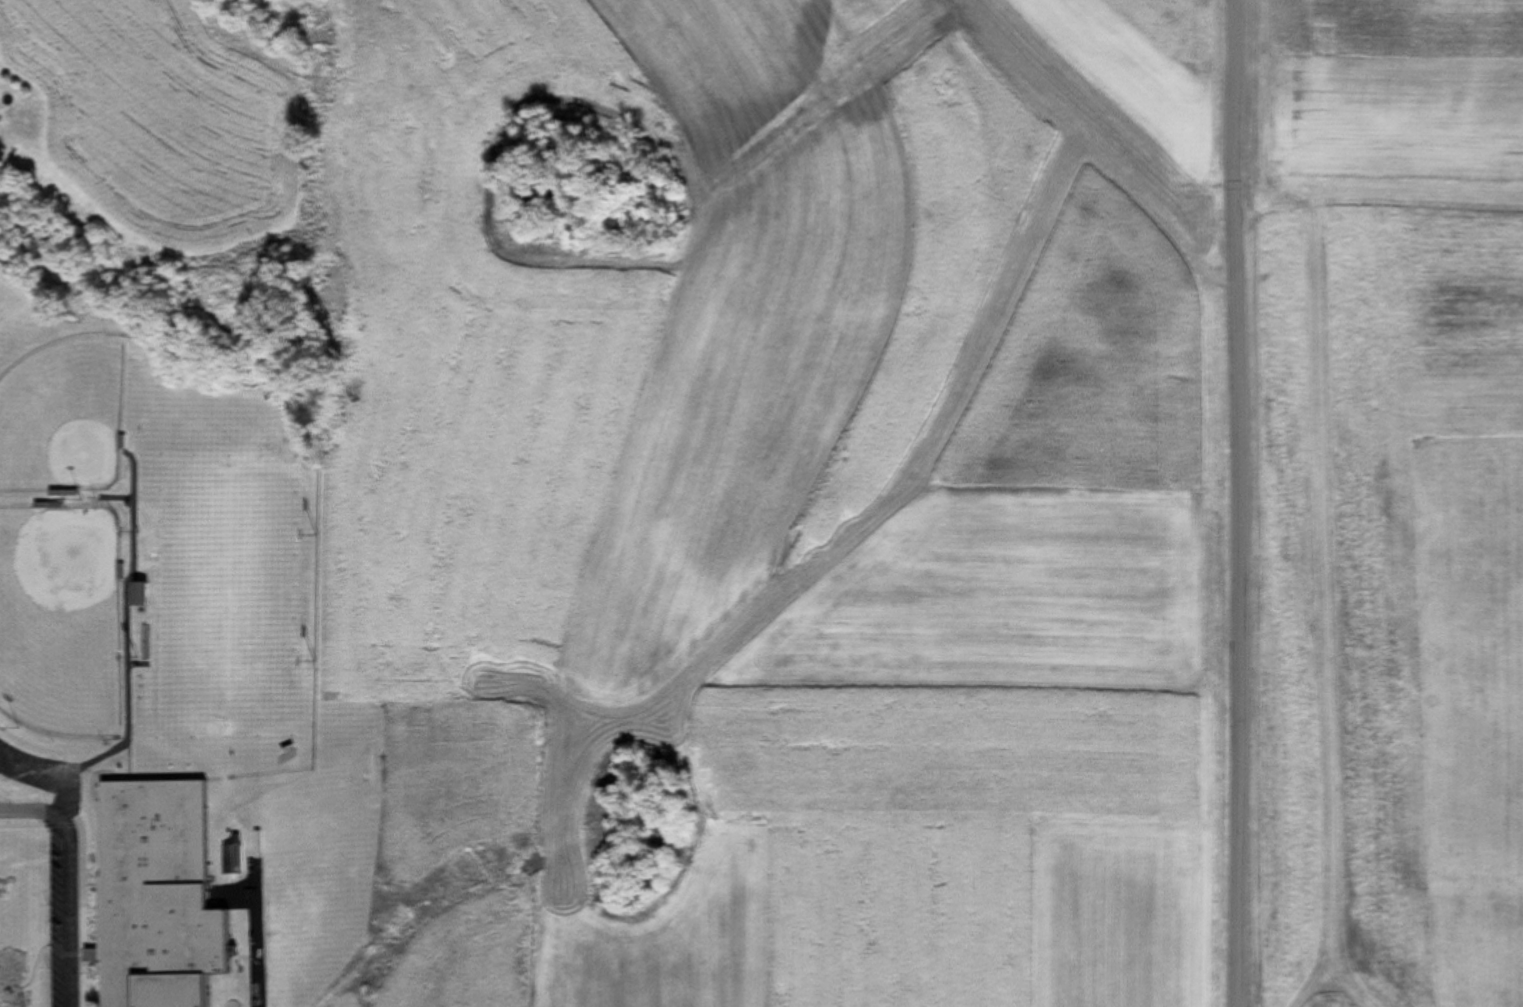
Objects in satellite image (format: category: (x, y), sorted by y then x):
road: (1232, 308)
building: (134, 595)
road: (32, 809)
road: (1235, 811)
road: (68, 866)
building: (152, 897)

